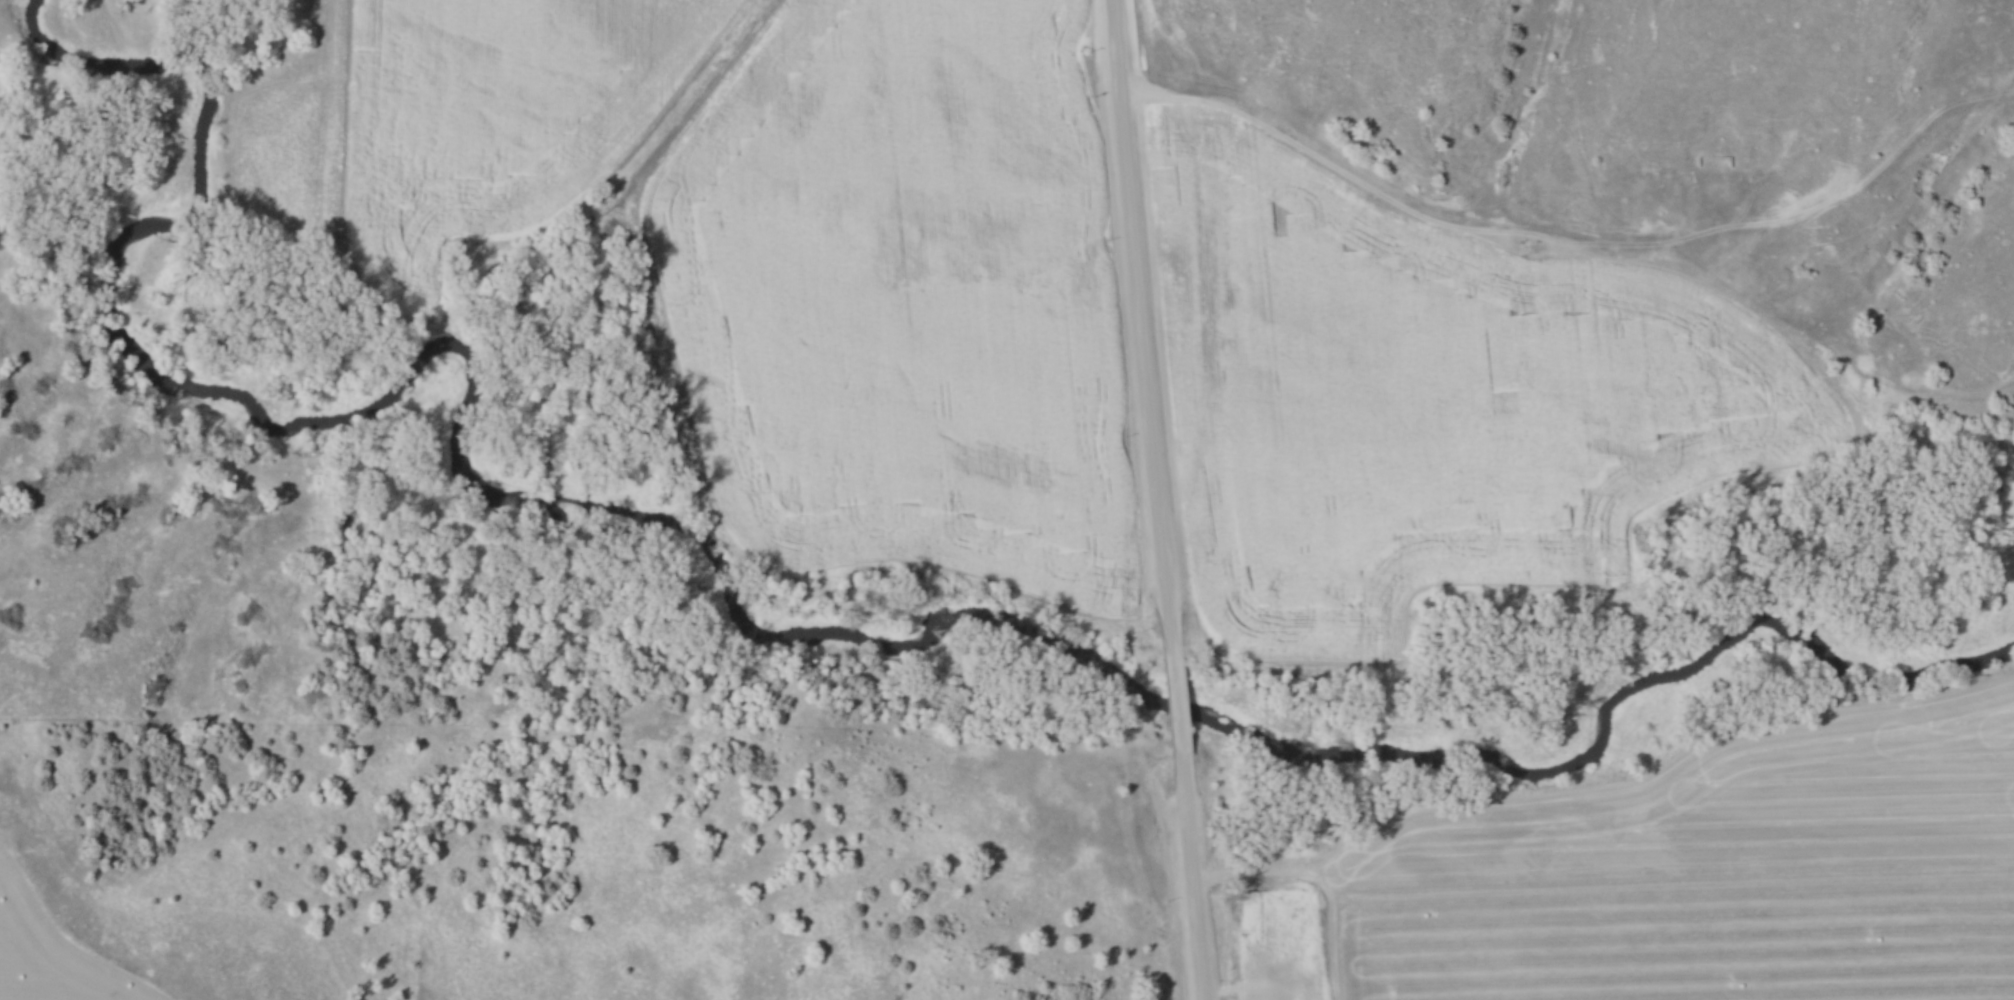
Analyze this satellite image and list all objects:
crop: (481, 117)
crop: (904, 293)
road: (1142, 325)
crop: (1427, 391)
road: (1178, 697)
crop: (1734, 801)
road: (1193, 872)
crop: (45, 945)

